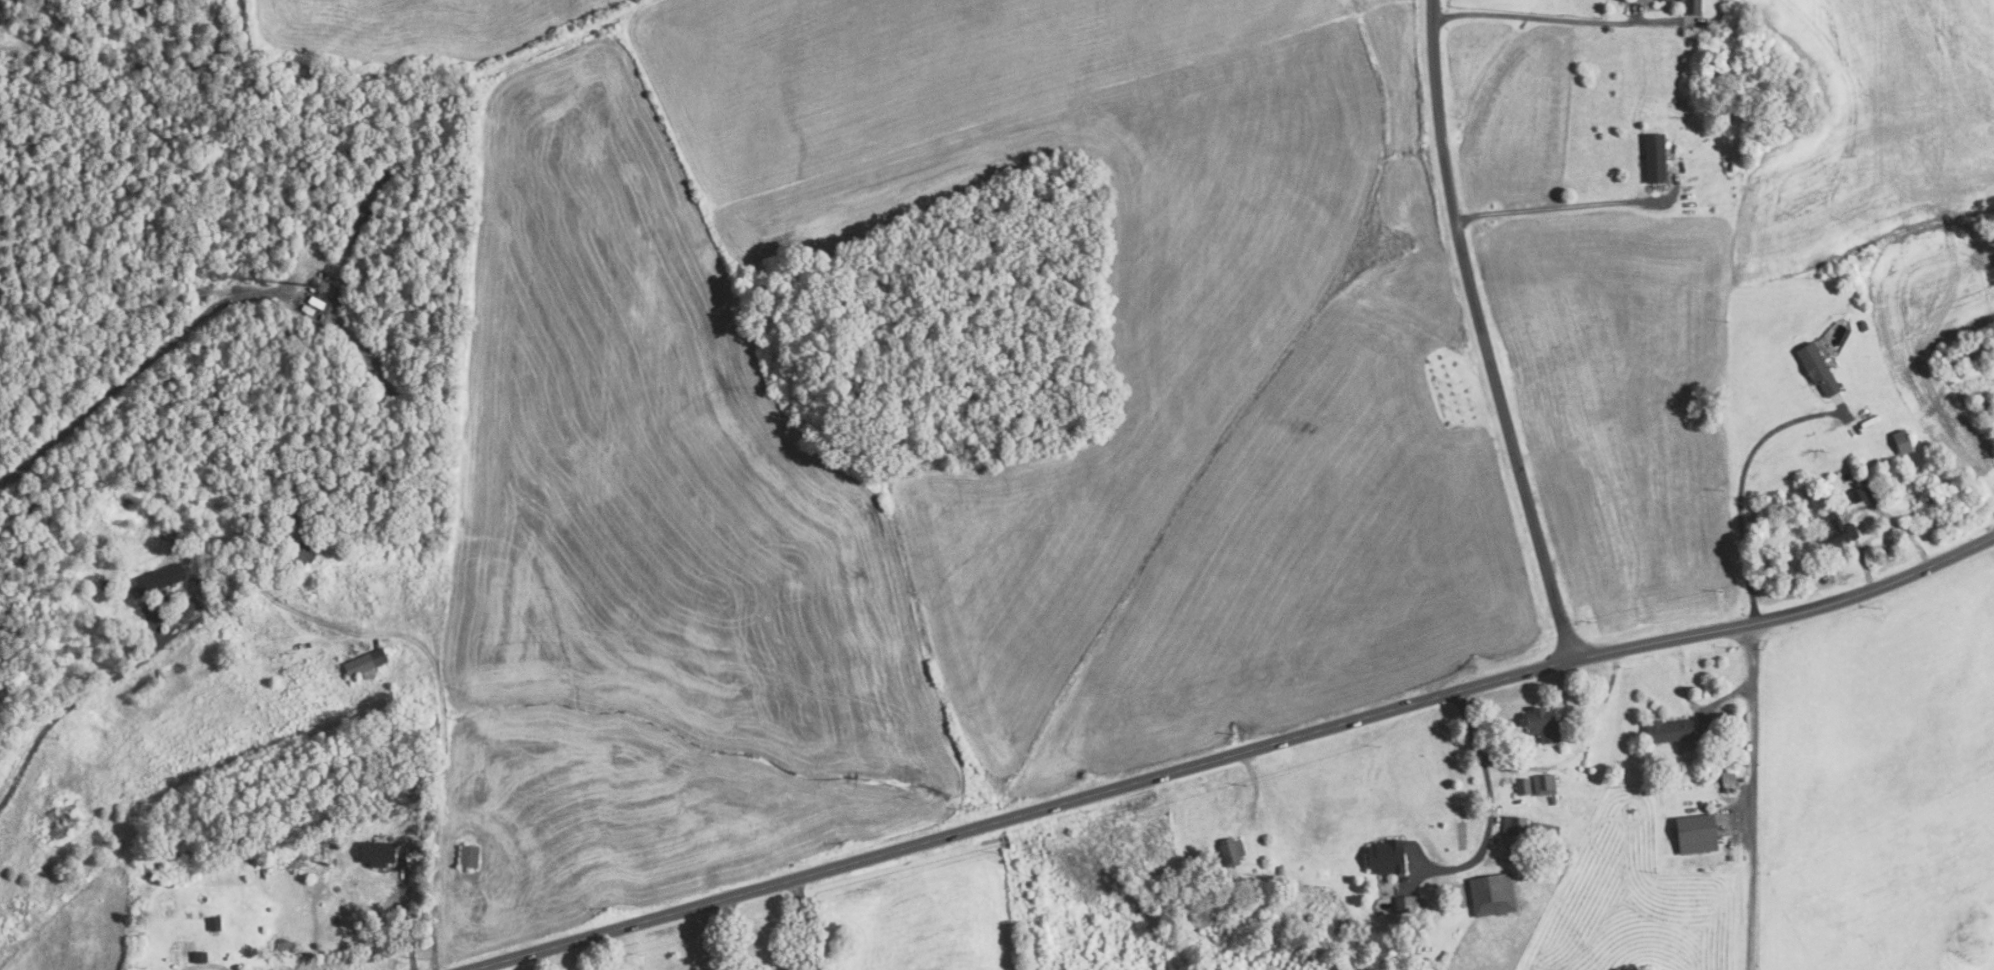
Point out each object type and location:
building: (1687, 6)
road: (1557, 19)
building: (1675, 99)
building: (1653, 157)
building: (1728, 166)
road: (1566, 214)
building: (1862, 325)
road: (1486, 332)
building: (1815, 368)
road: (135, 374)
building: (1900, 442)
building: (1862, 479)
road: (1739, 487)
building: (1856, 494)
building: (279, 526)
building: (1832, 528)
road: (1881, 530)
building: (168, 531)
building: (302, 547)
crop: (648, 557)
building: (160, 578)
building: (107, 584)
building: (368, 662)
building: (176, 685)
road: (1751, 692)
road: (84, 695)
road: (441, 702)
building: (1540, 723)
building: (1510, 730)
building: (1667, 730)
road: (1570, 740)
road: (1230, 751)
building: (1727, 778)
building: (1542, 783)
building: (1520, 786)
building: (1551, 800)
road: (1486, 802)
building: (1512, 826)
building: (1543, 833)
building: (1695, 834)
building: (1504, 839)
building: (1229, 851)
building: (379, 853)
building: (470, 856)
building: (1383, 856)
building: (1320, 860)
road: (1752, 866)
building: (1280, 870)
building: (1491, 893)
building: (1404, 903)
road: (405, 912)
building: (196, 914)
building: (215, 923)
road: (804, 923)
road: (737, 933)
building: (201, 957)
crop: (612, 960)
road: (206, 964)
building: (703, 969)
building: (709, 969)

